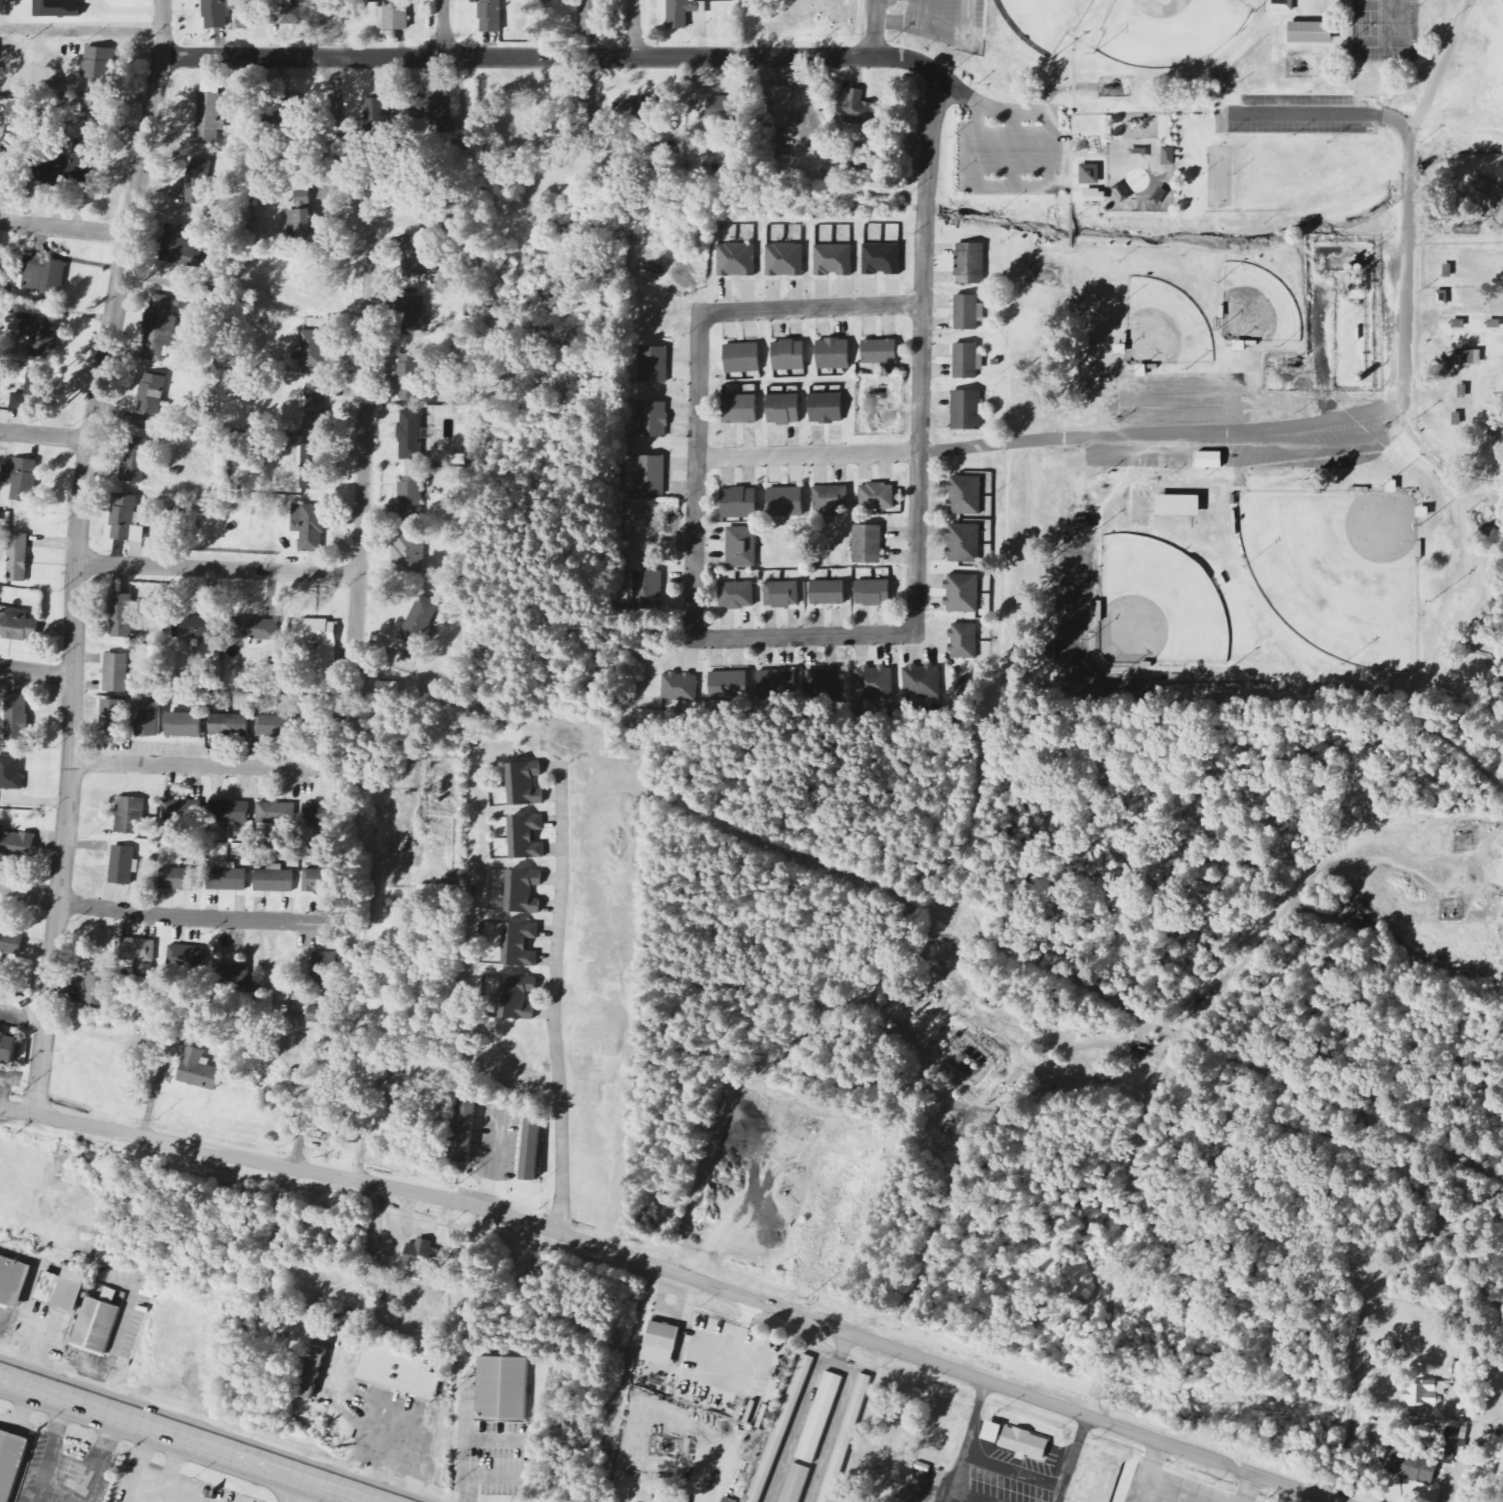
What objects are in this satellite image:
building: (1280, 5)
building: (57, 8)
building: (683, 12)
building: (287, 13)
building: (215, 14)
building: (394, 14)
road: (924, 15)
building: (490, 16)
park: (1042, 20)
road: (873, 28)
road: (443, 29)
road: (633, 29)
park: (1386, 29)
park: (1172, 30)
building: (1311, 32)
road: (81, 33)
road: (940, 35)
road: (550, 58)
building: (99, 63)
building: (436, 106)
building: (779, 107)
road: (988, 107)
building: (859, 108)
building: (210, 109)
building: (18, 112)
road: (1100, 112)
building: (724, 113)
building: (73, 114)
building: (375, 115)
road: (1319, 115)
road: (1015, 149)
road: (1079, 154)
building: (1169, 156)
building: (69, 167)
park: (1221, 177)
building: (197, 182)
road: (1010, 186)
building: (300, 216)
road: (1071, 225)
road: (64, 228)
building: (176, 244)
building: (416, 257)
building: (785, 259)
building: (882, 259)
building: (736, 260)
building: (833, 260)
building: (970, 263)
building: (44, 276)
road: (1086, 296)
park: (1258, 306)
road: (811, 308)
building: (968, 312)
building: (413, 314)
park: (1165, 325)
building: (158, 327)
building: (39, 336)
road: (366, 348)
building: (312, 349)
park: (1236, 349)
building: (879, 351)
road: (921, 353)
building: (832, 354)
building: (788, 356)
building: (1470, 357)
building: (742, 358)
building: (967, 361)
building: (653, 365)
building: (408, 376)
building: (151, 394)
building: (30, 396)
building: (316, 406)
building: (826, 408)
building: (739, 409)
building: (783, 410)
building: (966, 410)
road: (1367, 415)
building: (652, 420)
building: (413, 433)
road: (44, 435)
road: (807, 455)
building: (1210, 460)
building: (135, 461)
building: (309, 465)
road: (695, 475)
building: (651, 476)
building: (21, 479)
building: (965, 495)
building: (877, 497)
building: (410, 498)
building: (831, 498)
building: (785, 502)
building: (739, 503)
building: (1178, 506)
building: (126, 520)
building: (308, 526)
building: (963, 543)
building: (867, 544)
building: (741, 547)
building: (409, 551)
road: (76, 554)
building: (18, 558)
road: (216, 569)
park: (1339, 570)
building: (649, 590)
building: (827, 592)
building: (872, 593)
building: (737, 595)
building: (782, 595)
building: (964, 595)
park: (1158, 605)
building: (120, 615)
building: (419, 620)
building: (13, 623)
building: (195, 627)
building: (254, 629)
building: (318, 636)
road: (803, 636)
building: (963, 640)
road: (36, 672)
building: (115, 672)
building: (777, 681)
building: (922, 681)
building: (727, 682)
building: (823, 682)
building: (873, 682)
building: (679, 686)
building: (387, 687)
building: (114, 716)
building: (16, 717)
building: (149, 719)
building: (184, 724)
building: (230, 725)
building: (276, 725)
road: (207, 767)
building: (11, 772)
building: (523, 783)
building: (182, 809)
building: (228, 811)
building: (275, 812)
building: (314, 813)
building: (130, 815)
building: (526, 837)
building: (16, 841)
building: (122, 864)
building: (226, 877)
building: (178, 878)
building: (274, 879)
building: (314, 880)
building: (523, 891)
road: (164, 917)
building: (10, 942)
building: (520, 944)
building: (135, 949)
building: (185, 956)
building: (323, 970)
building: (237, 979)
road: (555, 983)
building: (95, 990)
building: (517, 997)
building: (314, 1017)
building: (7, 1046)
building: (197, 1070)
power tower: (23, 1091)
power tower: (158, 1119)
building: (465, 1130)
road: (1145, 1145)
building: (530, 1149)
power tower: (331, 1156)
power tower: (463, 1184)
power tower: (638, 1241)
building: (420, 1255)
road: (674, 1273)
building: (13, 1281)
building: (63, 1287)
power tower: (808, 1298)
building: (96, 1323)
road: (119, 1330)
building: (663, 1335)
road: (38, 1340)
power tower: (987, 1359)
building: (390, 1367)
building: (310, 1370)
road: (89, 1385)
building: (501, 1387)
building: (1425, 1392)
power tower: (1111, 1402)
road: (804, 1406)
power tower: (1294, 1413)
road: (21, 1415)
building: (819, 1417)
building: (780, 1427)
road: (832, 1429)
building: (992, 1433)
building: (1456, 1436)
building: (844, 1438)
road: (185, 1439)
building: (1024, 1442)
road: (966, 1444)
building: (10, 1462)
building: (1411, 1465)
road: (172, 1467)
road: (1013, 1471)
road: (1148, 1471)
parking lot: (1006, 1475)
road: (134, 1482)
building: (795, 1483)
parking lot: (925, 1483)
road: (1247, 1488)
road: (294, 1489)
road: (1177, 1491)
road: (971, 1495)
building: (670, 1499)
building: (722, 1501)

